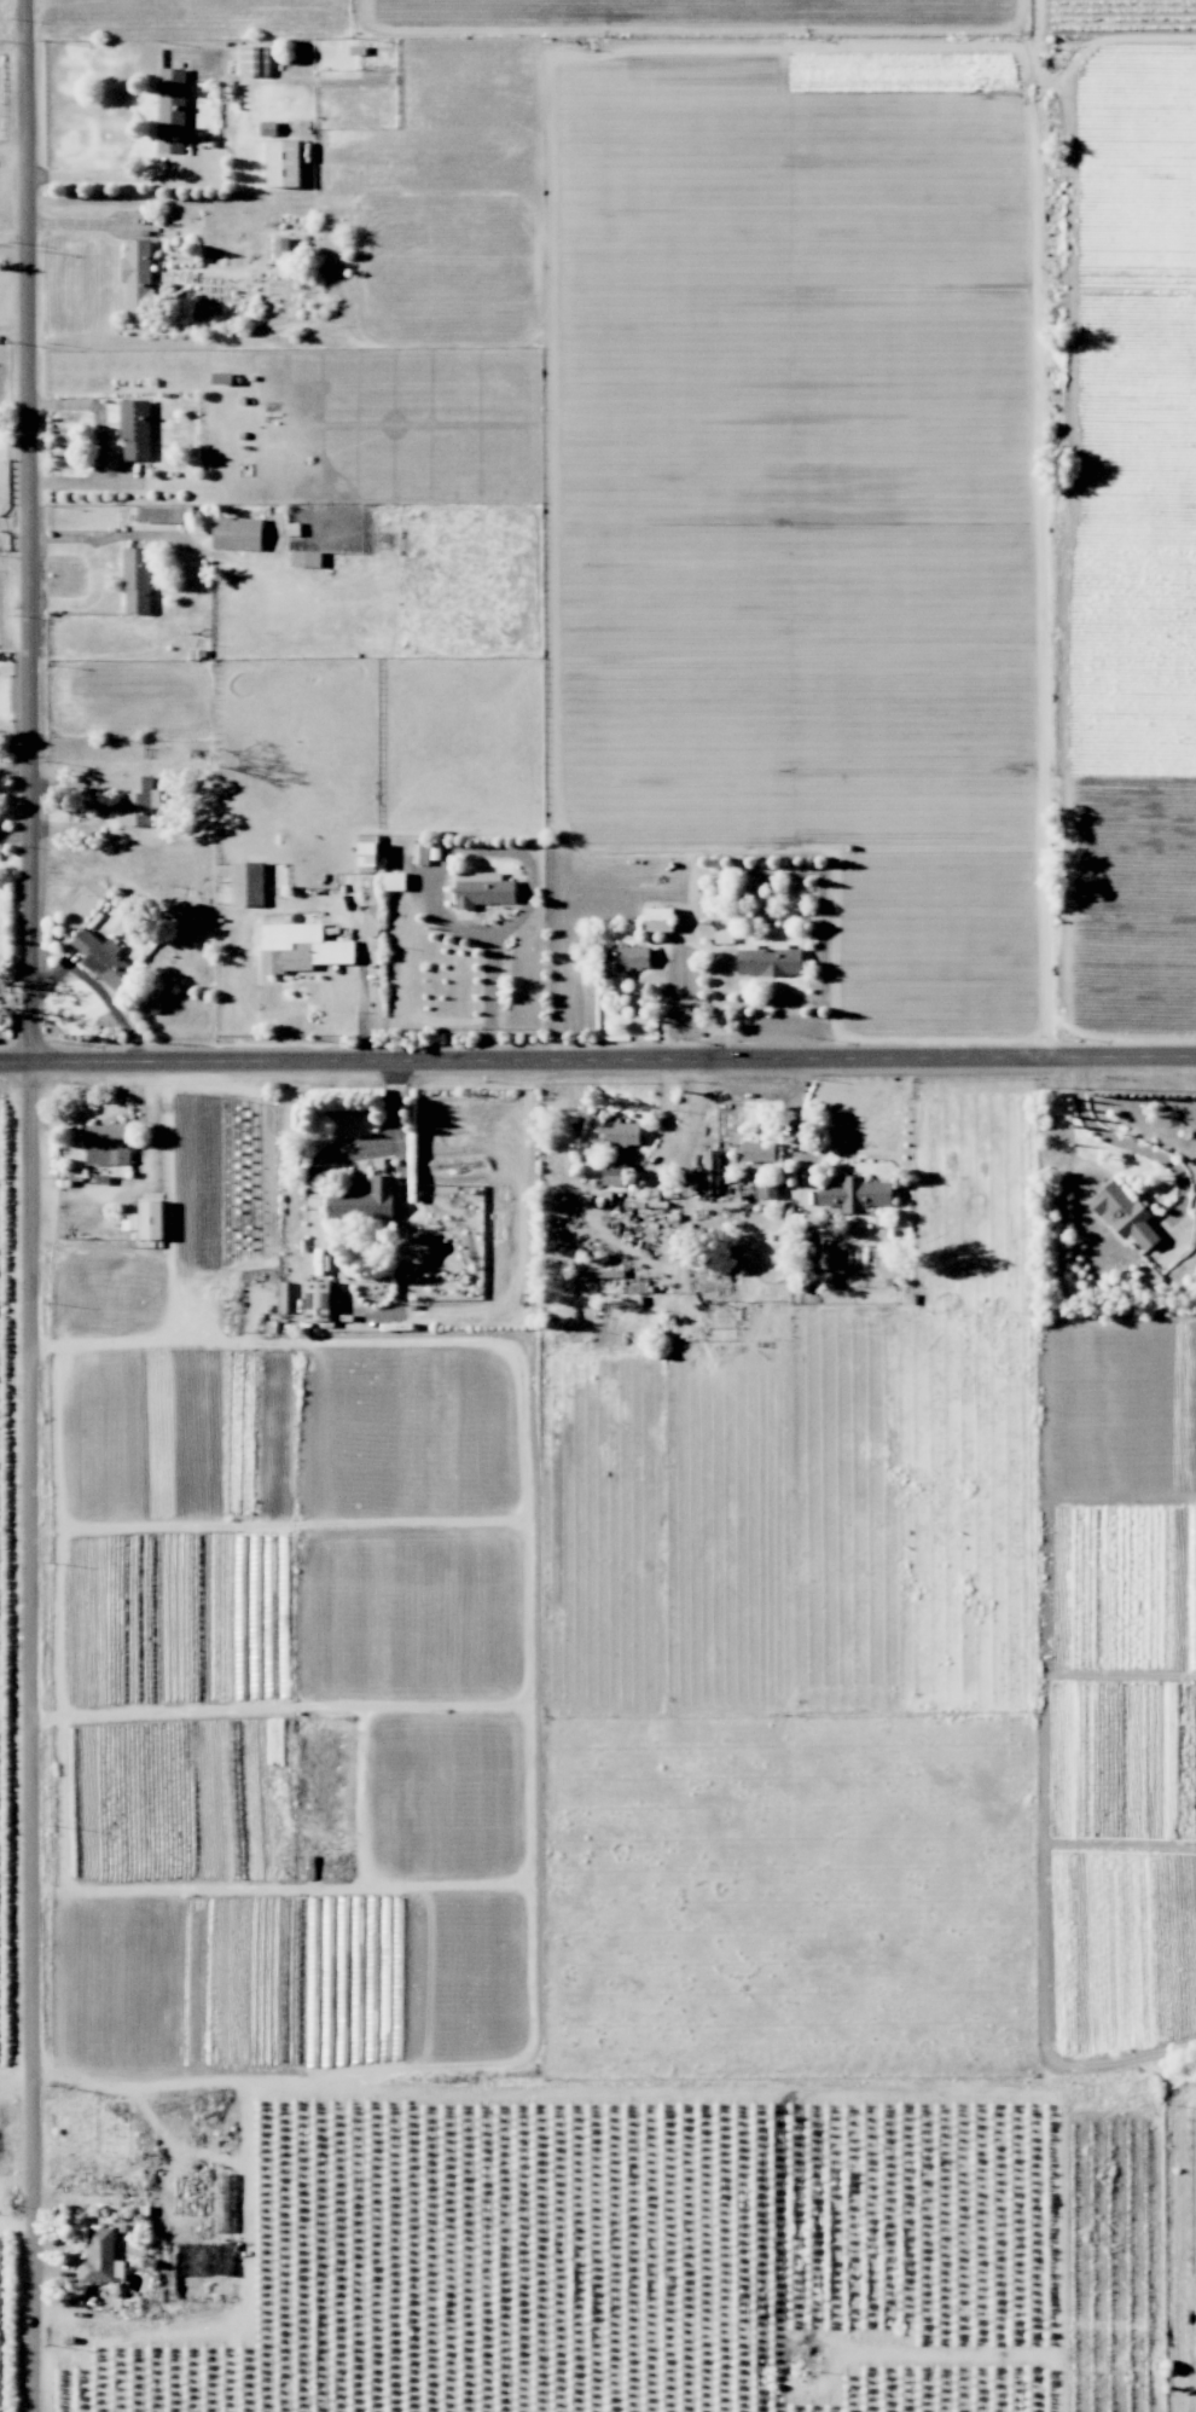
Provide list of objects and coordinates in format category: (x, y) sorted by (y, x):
road: (13, 45)
building: (254, 60)
building: (170, 110)
building: (267, 128)
road: (116, 175)
building: (281, 247)
road: (13, 251)
building: (137, 273)
road: (14, 327)
building: (135, 429)
building: (164, 514)
building: (237, 533)
road: (14, 557)
building: (306, 558)
building: (137, 580)
building: (139, 802)
building: (420, 853)
building: (393, 881)
building: (246, 883)
building: (481, 889)
building: (658, 918)
building: (722, 932)
building: (301, 947)
building: (103, 958)
building: (625, 959)
building: (767, 959)
road: (597, 1054)
building: (620, 1132)
road: (1117, 1137)
building: (106, 1144)
building: (757, 1152)
building: (710, 1171)
building: (612, 1172)
road: (313, 1181)
building: (766, 1188)
building: (855, 1194)
building: (364, 1201)
road: (35, 1205)
building: (1124, 1213)
building: (150, 1219)
building: (129, 1222)
building: (825, 1258)
building: (317, 1300)
road: (376, 1705)
road: (268, 1885)
road: (17, 2069)
road: (13, 2222)

